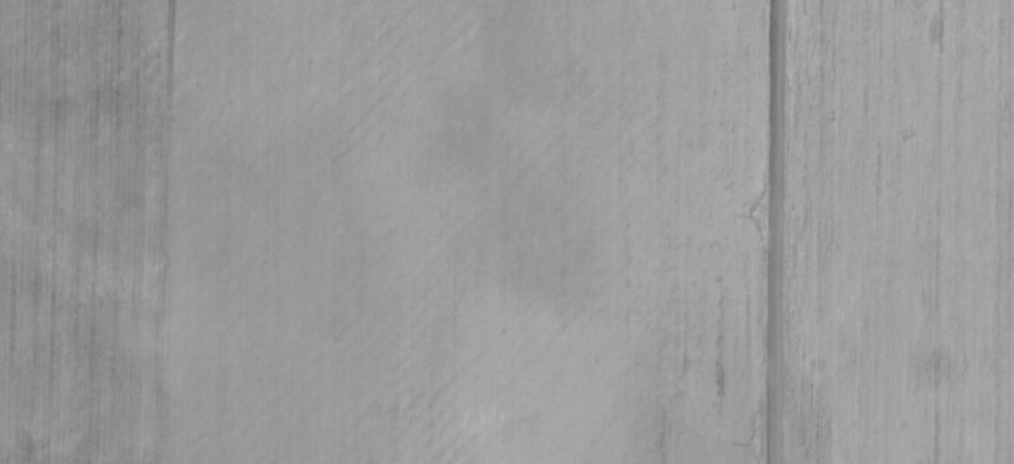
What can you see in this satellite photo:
crop: (382, 231)
road: (779, 232)
crop: (906, 232)

